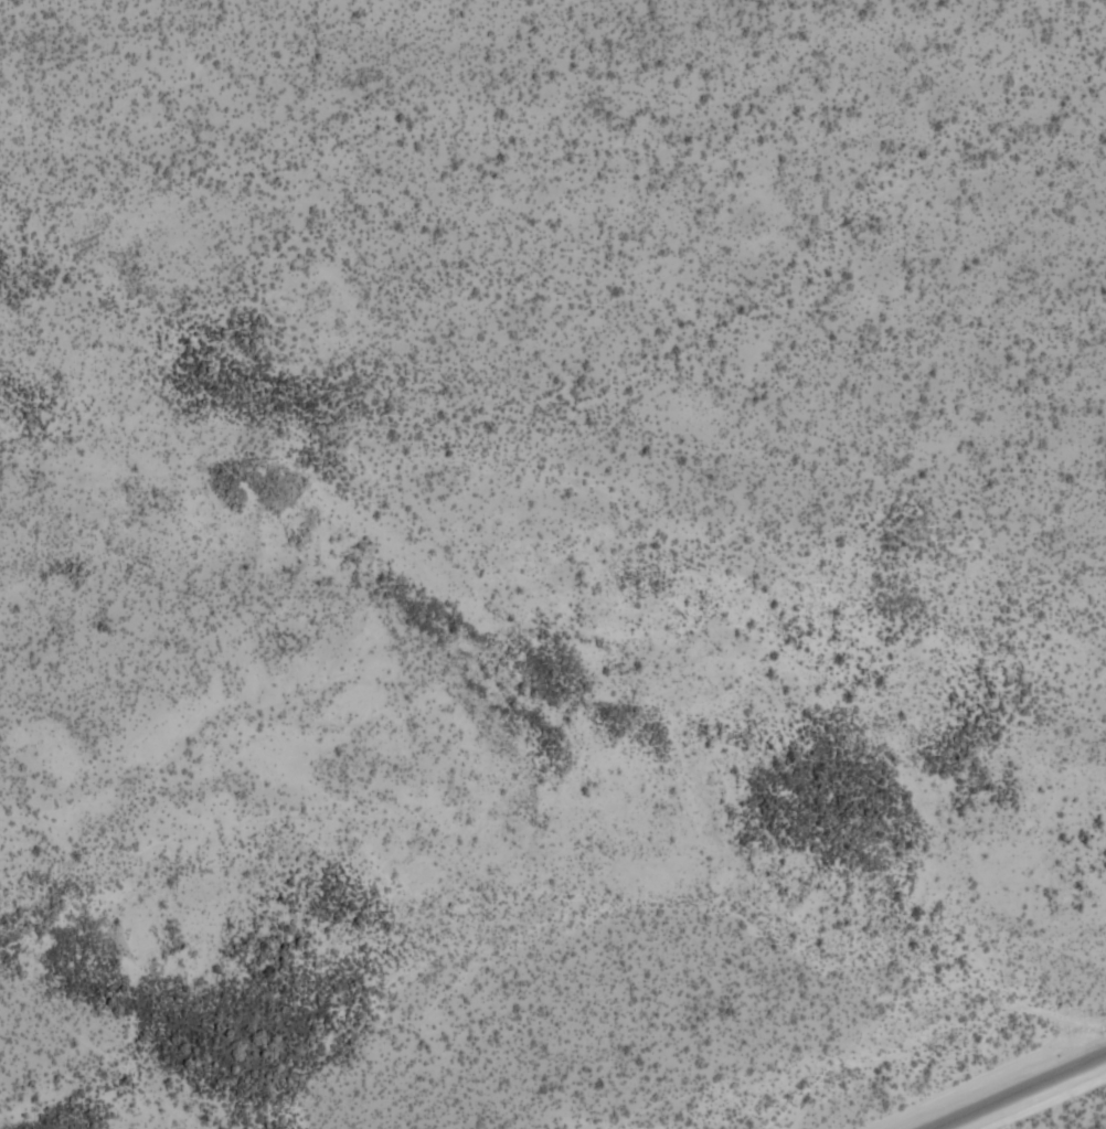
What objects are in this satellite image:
building: (1096, 109)
building: (717, 126)
building: (1086, 150)
building: (668, 343)
building: (1033, 358)
building: (754, 374)

